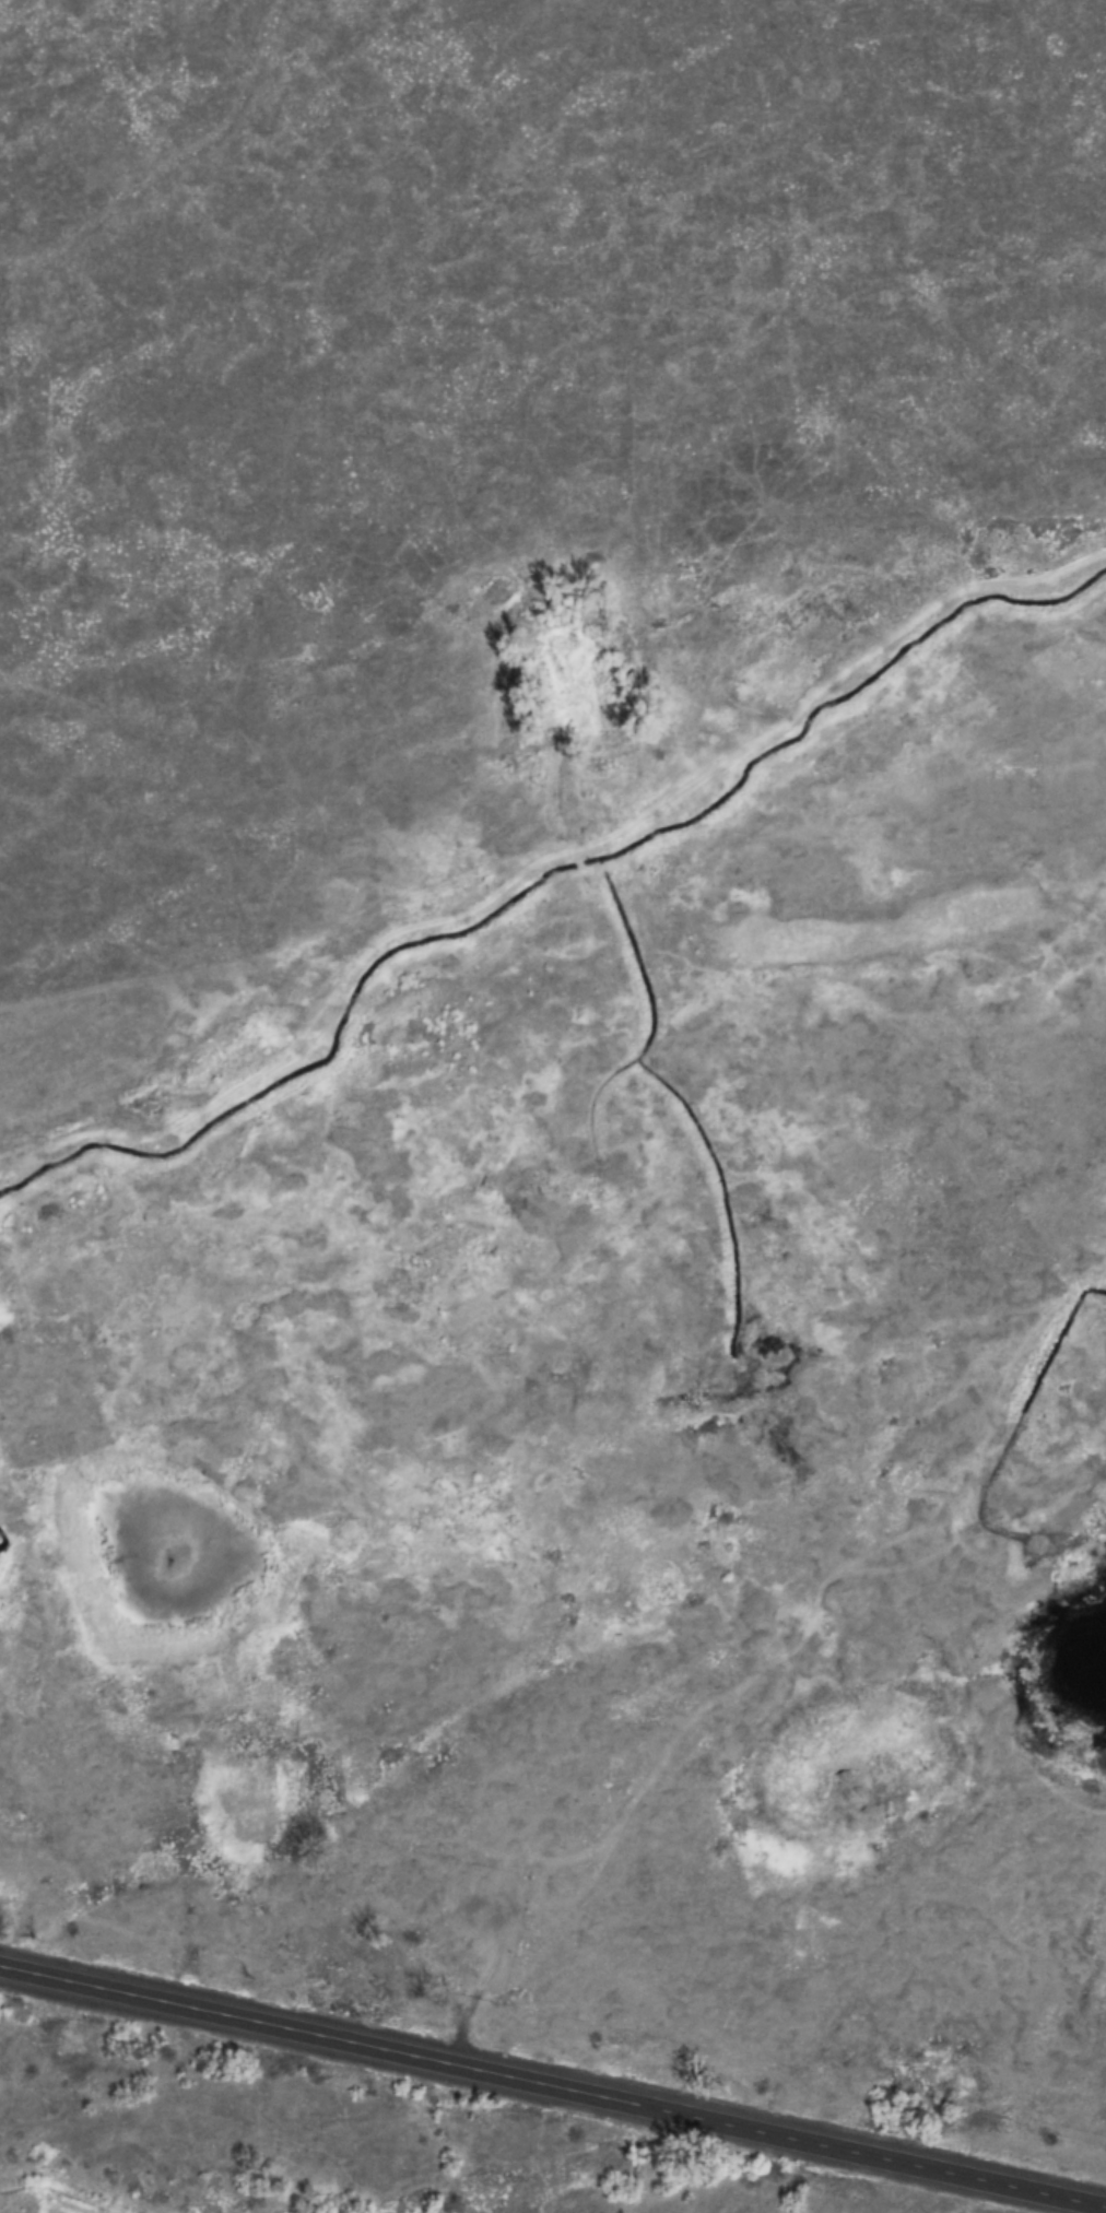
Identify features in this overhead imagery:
road: (552, 2087)

